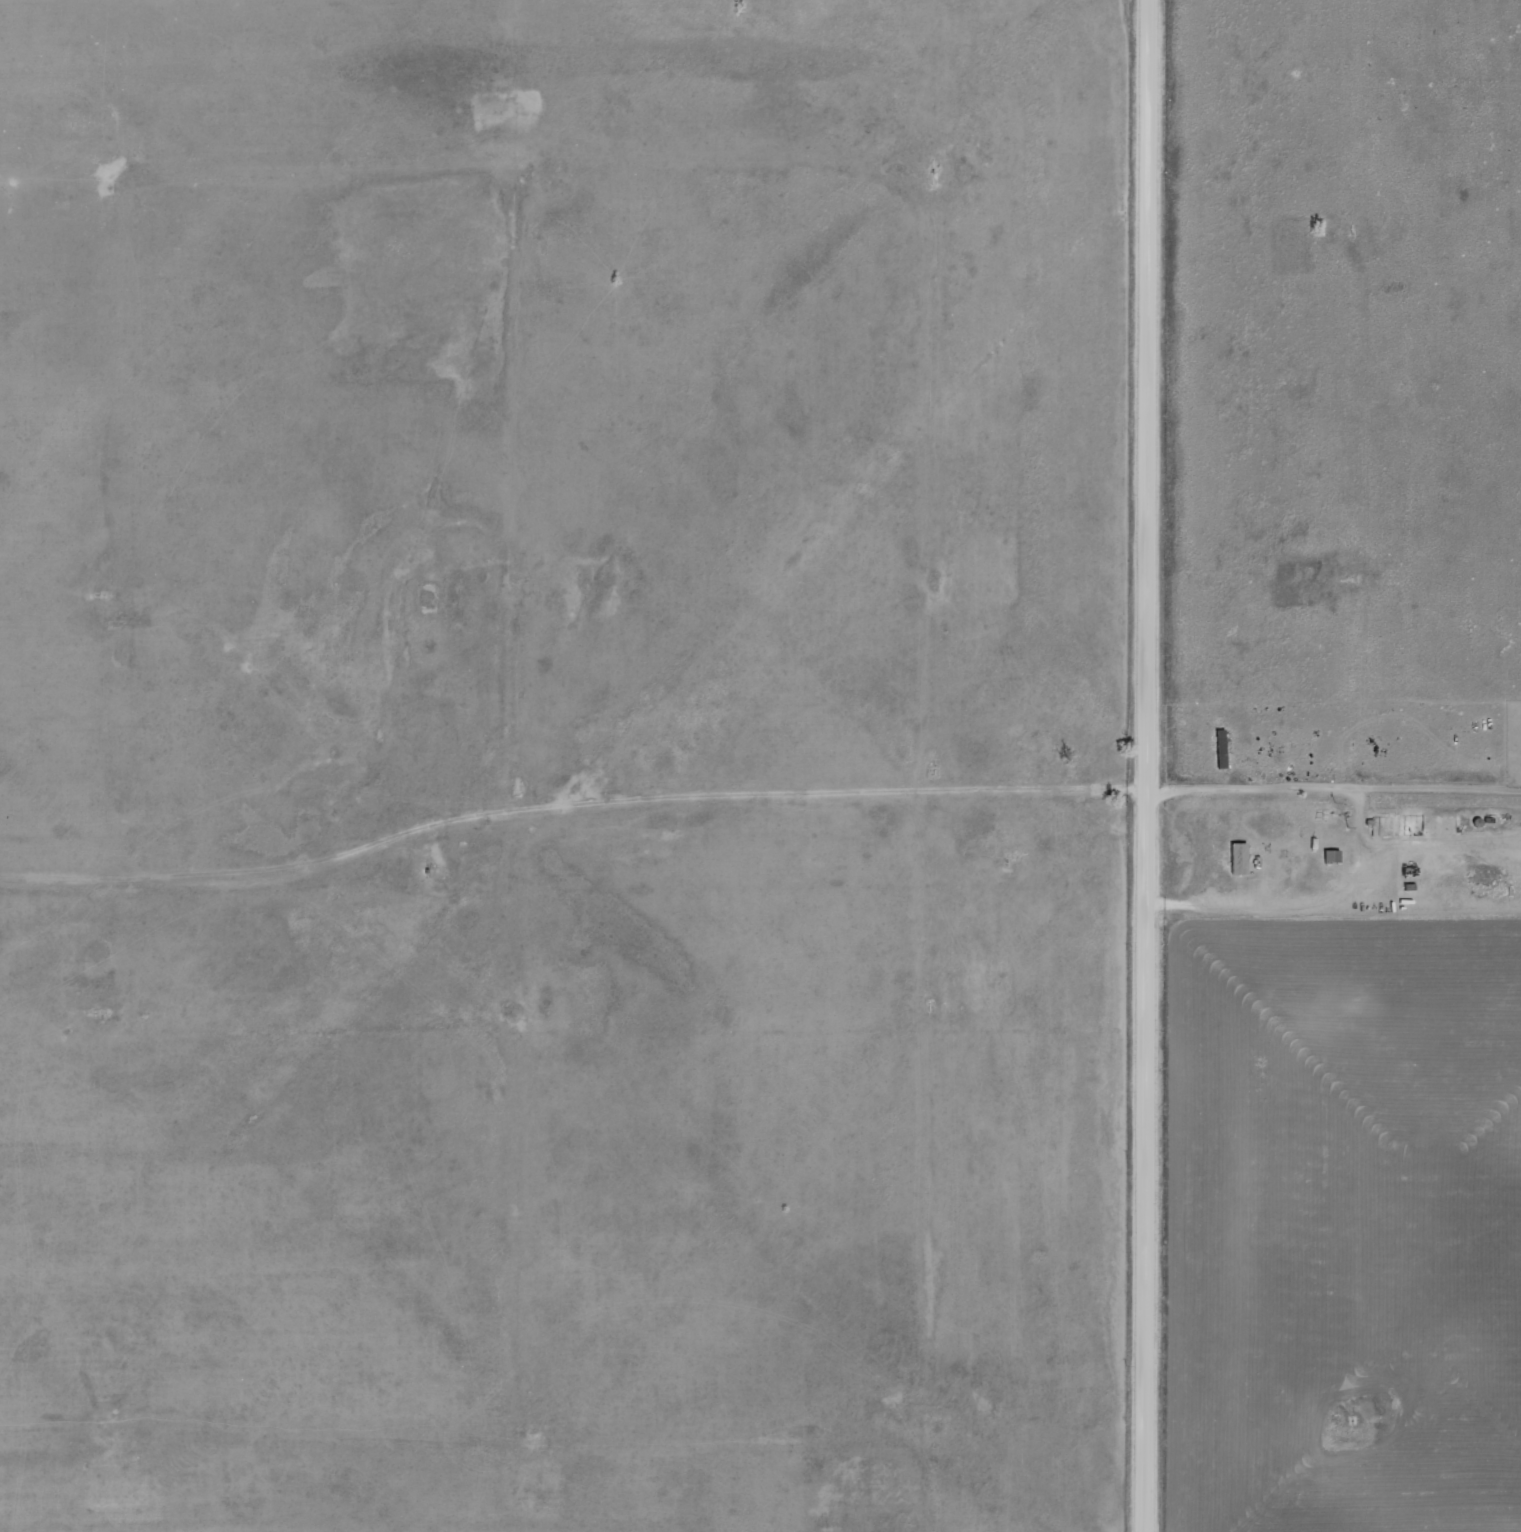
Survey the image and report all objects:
road: (1153, 766)
building: (1333, 855)
building: (1240, 858)

